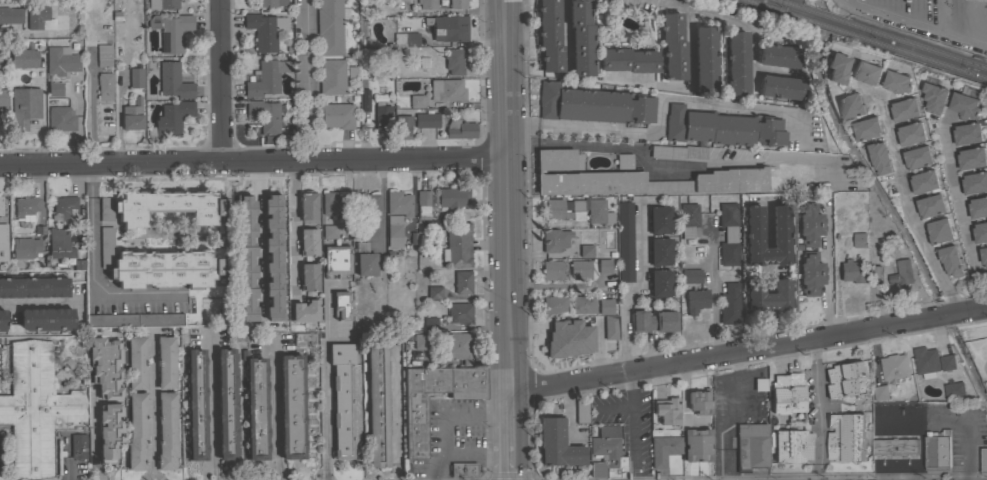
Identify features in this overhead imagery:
building: (973, 0)
building: (270, 3)
building: (162, 4)
building: (427, 4)
building: (457, 4)
railway: (791, 5)
railway: (778, 8)
building: (10, 15)
railway: (822, 15)
building: (37, 16)
road: (742, 22)
railway: (821, 22)
road: (917, 24)
building: (330, 27)
building: (447, 27)
building: (265, 30)
road: (566, 30)
building: (171, 31)
building: (549, 36)
building: (581, 37)
building: (406, 39)
building: (672, 45)
railway: (912, 45)
building: (0, 47)
railway: (912, 53)
building: (103, 54)
building: (778, 55)
building: (23, 58)
building: (704, 59)
building: (59, 60)
building: (454, 60)
building: (628, 60)
building: (737, 63)
building: (838, 67)
building: (866, 72)
building: (335, 76)
building: (135, 77)
building: (265, 77)
building: (173, 80)
road: (219, 80)
road: (305, 80)
building: (897, 83)
building: (104, 86)
road: (687, 86)
building: (781, 86)
building: (446, 89)
building: (50, 90)
road: (666, 96)
building: (5, 97)
building: (934, 98)
building: (365, 100)
building: (416, 101)
building: (593, 104)
building: (851, 106)
building: (964, 106)
building: (24, 107)
building: (904, 109)
building: (382, 112)
building: (132, 115)
building: (336, 115)
building: (266, 116)
building: (60, 119)
building: (426, 119)
building: (170, 120)
road: (520, 125)
building: (402, 126)
building: (461, 129)
building: (867, 129)
building: (714, 131)
building: (651, 133)
building: (911, 134)
building: (967, 134)
building: (879, 157)
building: (917, 158)
building: (971, 158)
road: (252, 160)
building: (624, 160)
road: (671, 167)
building: (634, 178)
road: (91, 179)
building: (924, 182)
building: (974, 183)
road: (506, 196)
building: (439, 199)
building: (398, 201)
building: (334, 204)
building: (1, 205)
building: (307, 205)
building: (365, 205)
building: (577, 205)
building: (160, 206)
building: (930, 206)
building: (26, 207)
building: (64, 207)
road: (907, 207)
building: (977, 207)
building: (555, 209)
building: (599, 212)
road: (961, 216)
building: (687, 218)
building: (659, 219)
building: (435, 224)
building: (810, 224)
building: (753, 226)
road: (293, 227)
building: (257, 229)
building: (360, 229)
building: (394, 230)
building: (939, 231)
building: (329, 232)
building: (980, 232)
building: (728, 234)
building: (586, 237)
building: (554, 239)
building: (860, 240)
building: (308, 241)
building: (625, 241)
building: (3, 242)
building: (457, 244)
building: (62, 245)
building: (25, 247)
building: (586, 250)
building: (660, 251)
building: (984, 256)
building: (364, 259)
building: (237, 260)
building: (336, 261)
building: (875, 261)
building: (950, 261)
building: (279, 265)
building: (156, 266)
building: (604, 266)
building: (580, 269)
building: (552, 270)
building: (853, 271)
building: (810, 273)
building: (902, 273)
building: (691, 275)
road: (827, 275)
building: (309, 276)
road: (94, 279)
building: (462, 282)
building: (660, 282)
road: (555, 285)
building: (34, 286)
road: (636, 286)
building: (891, 287)
building: (434, 292)
road: (712, 292)
building: (768, 295)
building: (696, 300)
building: (729, 303)
building: (554, 304)
building: (583, 304)
building: (341, 305)
building: (605, 306)
building: (305, 310)
building: (459, 312)
building: (47, 318)
building: (2, 319)
building: (134, 319)
building: (576, 321)
building: (654, 321)
building: (429, 323)
building: (606, 328)
building: (548, 332)
building: (421, 340)
building: (458, 346)
road: (748, 350)
road: (814, 351)
building: (136, 362)
building: (166, 362)
building: (926, 362)
building: (943, 364)
building: (106, 366)
road: (576, 366)
building: (895, 368)
road: (325, 374)
building: (845, 378)
building: (760, 384)
building: (953, 392)
building: (787, 393)
building: (880, 393)
building: (345, 400)
building: (698, 402)
building: (227, 403)
road: (617, 403)
building: (195, 404)
building: (378, 404)
road: (274, 405)
road: (212, 406)
building: (254, 406)
building: (291, 406)
building: (36, 409)
building: (582, 410)
road: (150, 411)
building: (661, 412)
road: (817, 413)
road: (724, 414)
road: (445, 416)
road: (396, 418)
road: (943, 419)
road: (631, 425)
building: (415, 428)
building: (137, 430)
building: (166, 430)
building: (109, 431)
road: (94, 434)
road: (511, 436)
building: (846, 437)
building: (557, 444)
building: (697, 444)
building: (78, 445)
building: (750, 446)
building: (793, 446)
building: (895, 446)
building: (663, 449)
building: (937, 450)
building: (609, 451)
road: (476, 453)
building: (983, 461)
building: (462, 469)
road: (274, 470)
road: (817, 471)
road: (154, 475)

